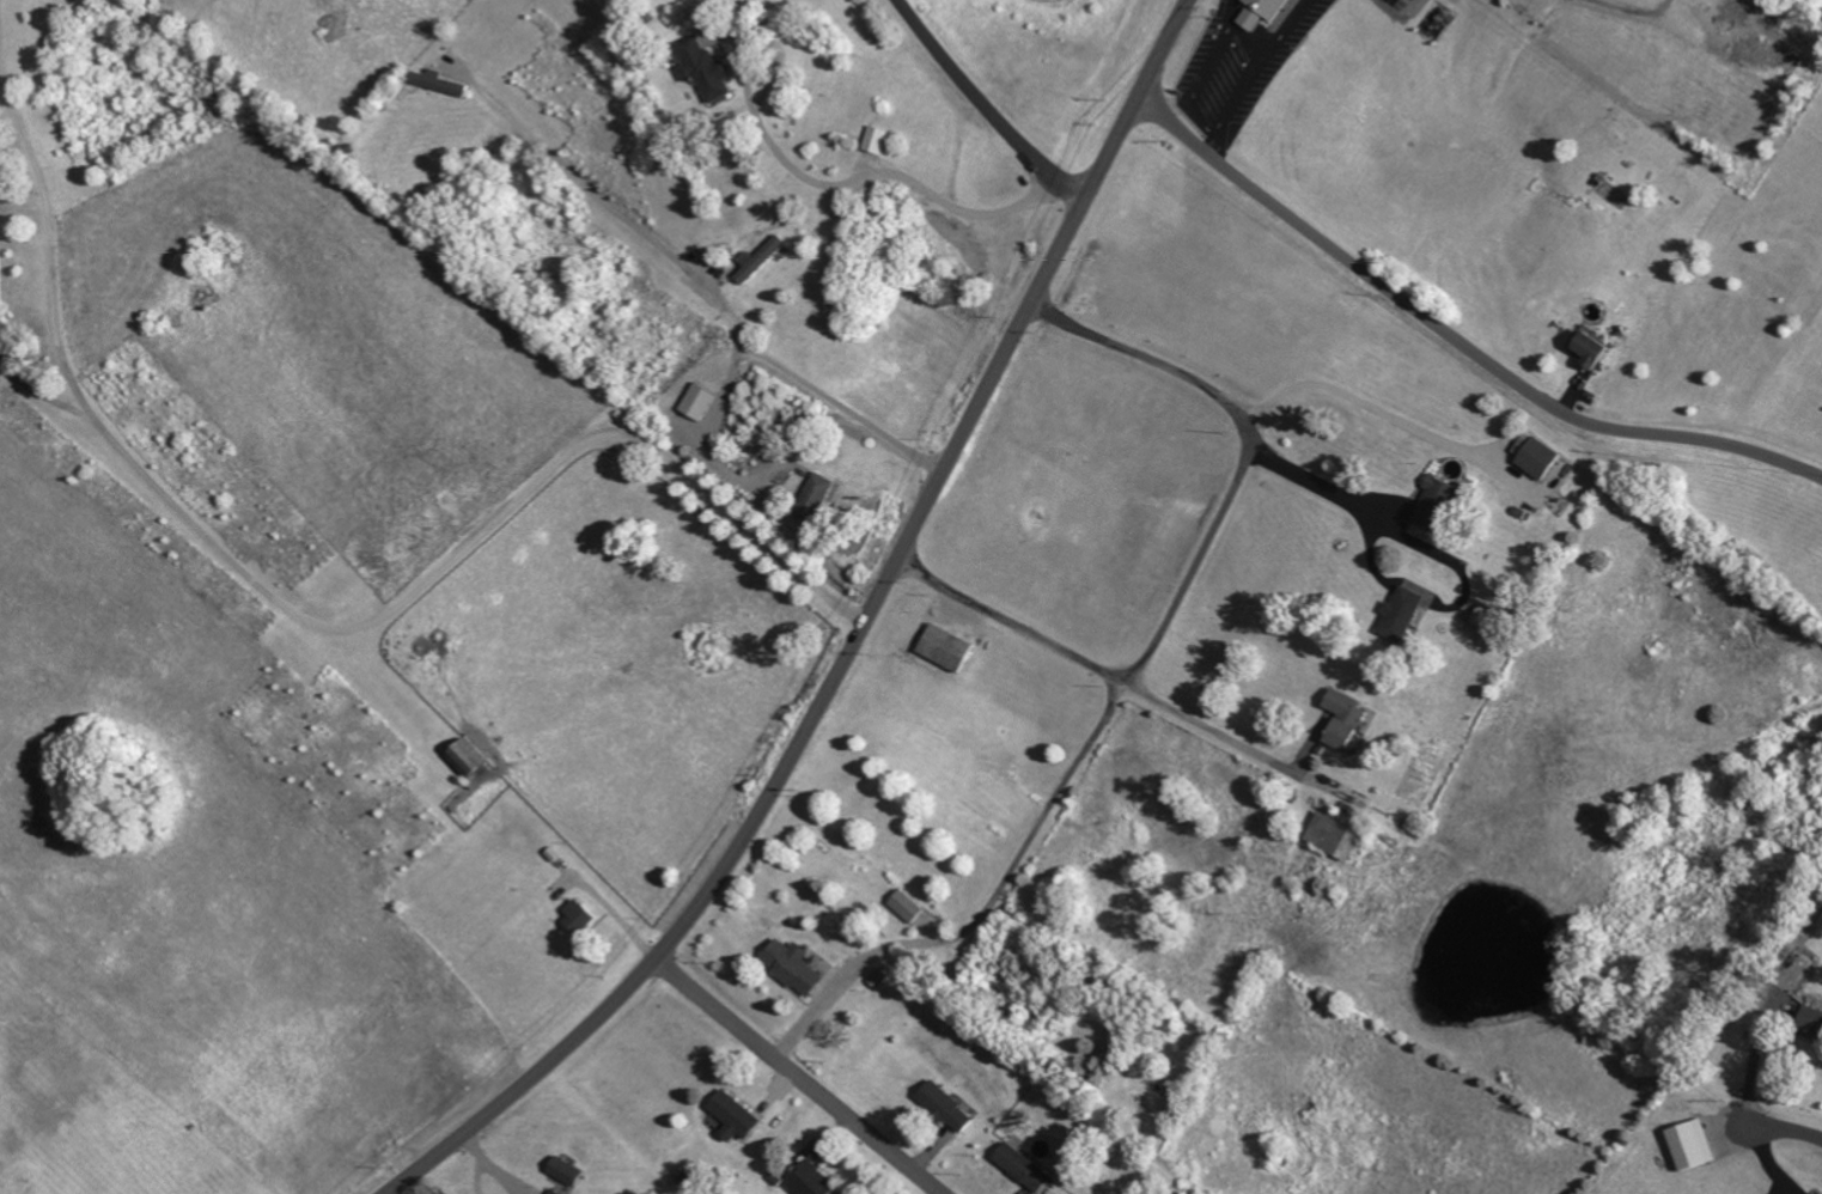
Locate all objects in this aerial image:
building: (1267, 12)
road: (1236, 16)
road: (4, 44)
building: (707, 67)
road: (4, 74)
building: (440, 83)
road: (982, 109)
road: (1232, 121)
building: (878, 139)
road: (1214, 146)
road: (884, 179)
building: (762, 258)
road: (708, 290)
road: (1456, 341)
building: (1595, 349)
road: (1162, 365)
building: (701, 401)
road: (1381, 410)
building: (1542, 458)
road: (1324, 485)
building: (1443, 494)
building: (819, 495)
road: (1194, 572)
building: (1406, 614)
building: (1491, 620)
road: (1013, 625)
road: (333, 626)
road: (855, 645)
building: (947, 647)
building: (1348, 719)
road: (1208, 726)
building: (471, 757)
building: (1337, 836)
building: (908, 907)
road: (989, 912)
road: (615, 914)
building: (581, 916)
building: (796, 967)
building: (1814, 1021)
road: (797, 1077)
building: (947, 1107)
building: (737, 1116)
road: (1796, 1131)
building: (1694, 1145)
building: (1024, 1168)
building: (569, 1170)
building: (816, 1181)
building: (556, 1192)

